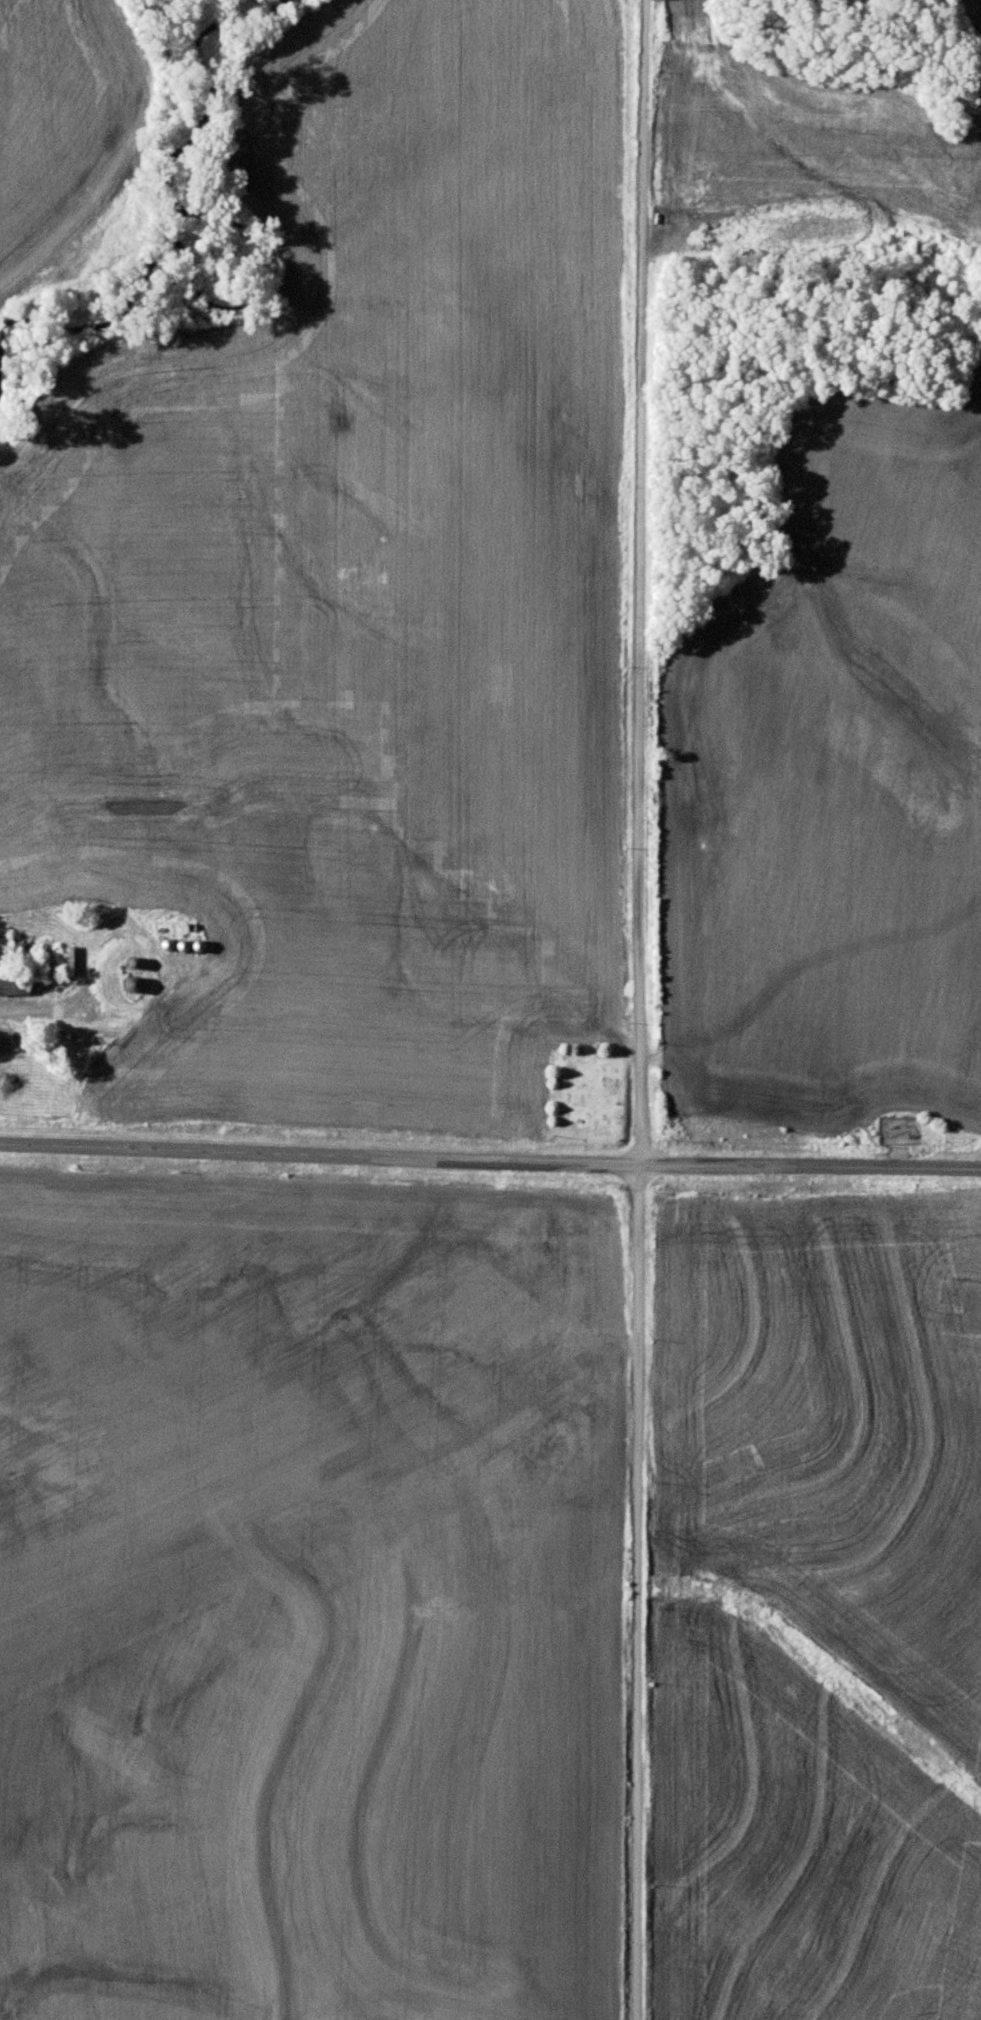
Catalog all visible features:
building: (128, 982)
building: (11, 983)
road: (641, 1009)
building: (6, 1042)
park: (588, 1093)
road: (490, 1160)

